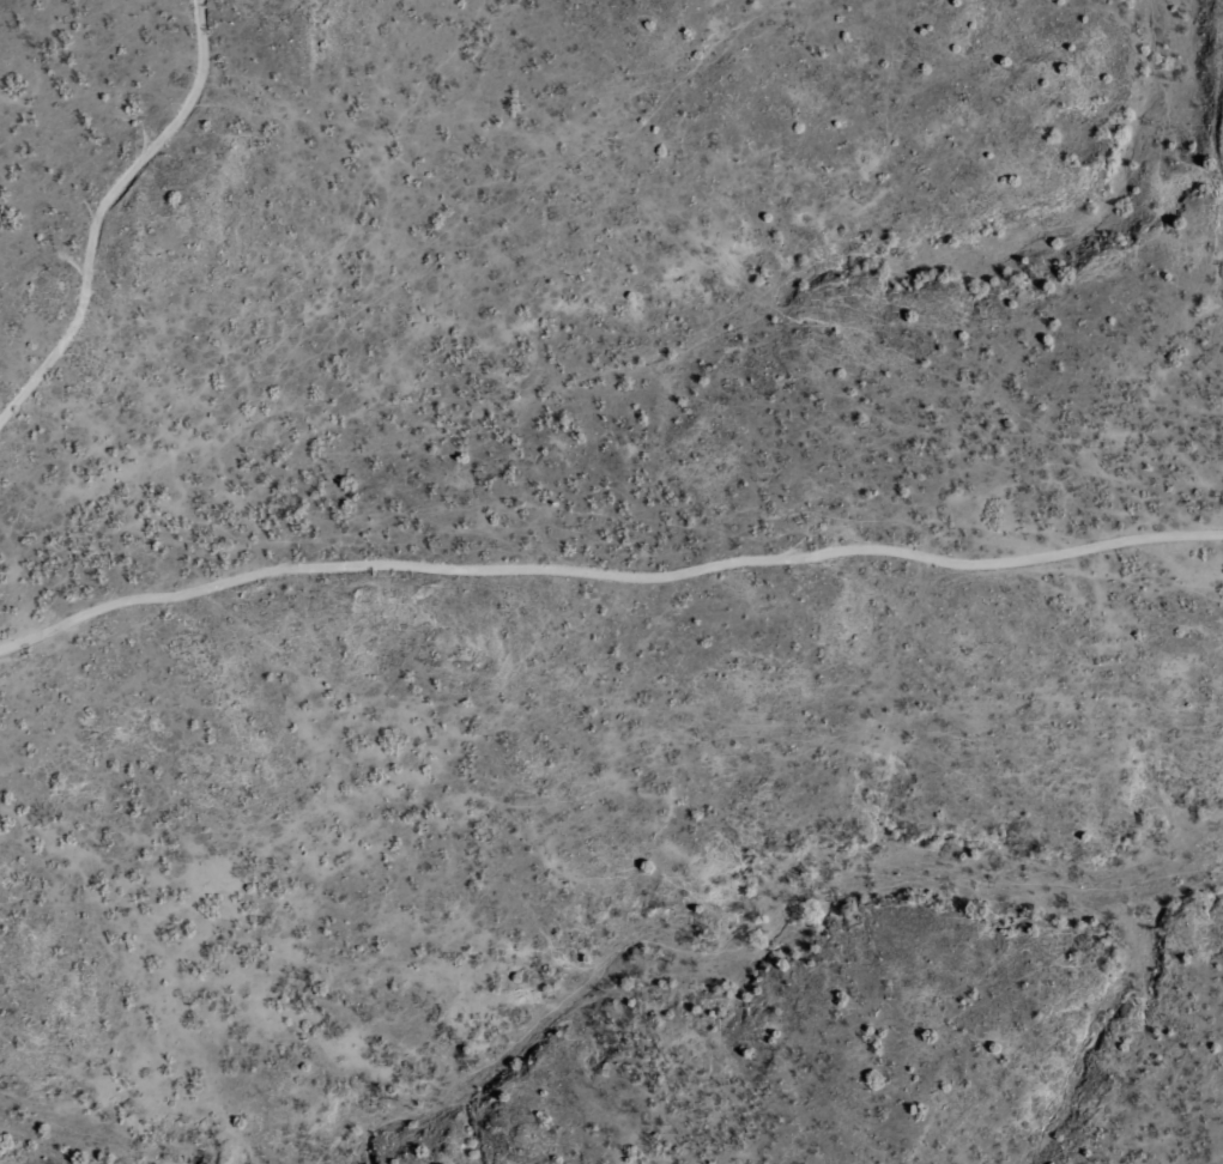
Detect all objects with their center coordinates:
road: (606, 570)

